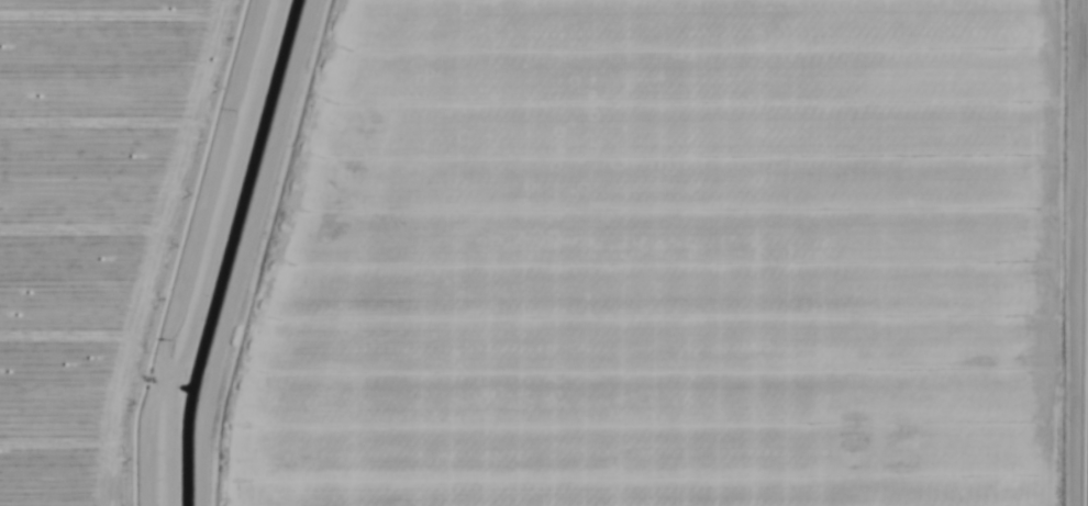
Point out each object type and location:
crop: (544, 252)

